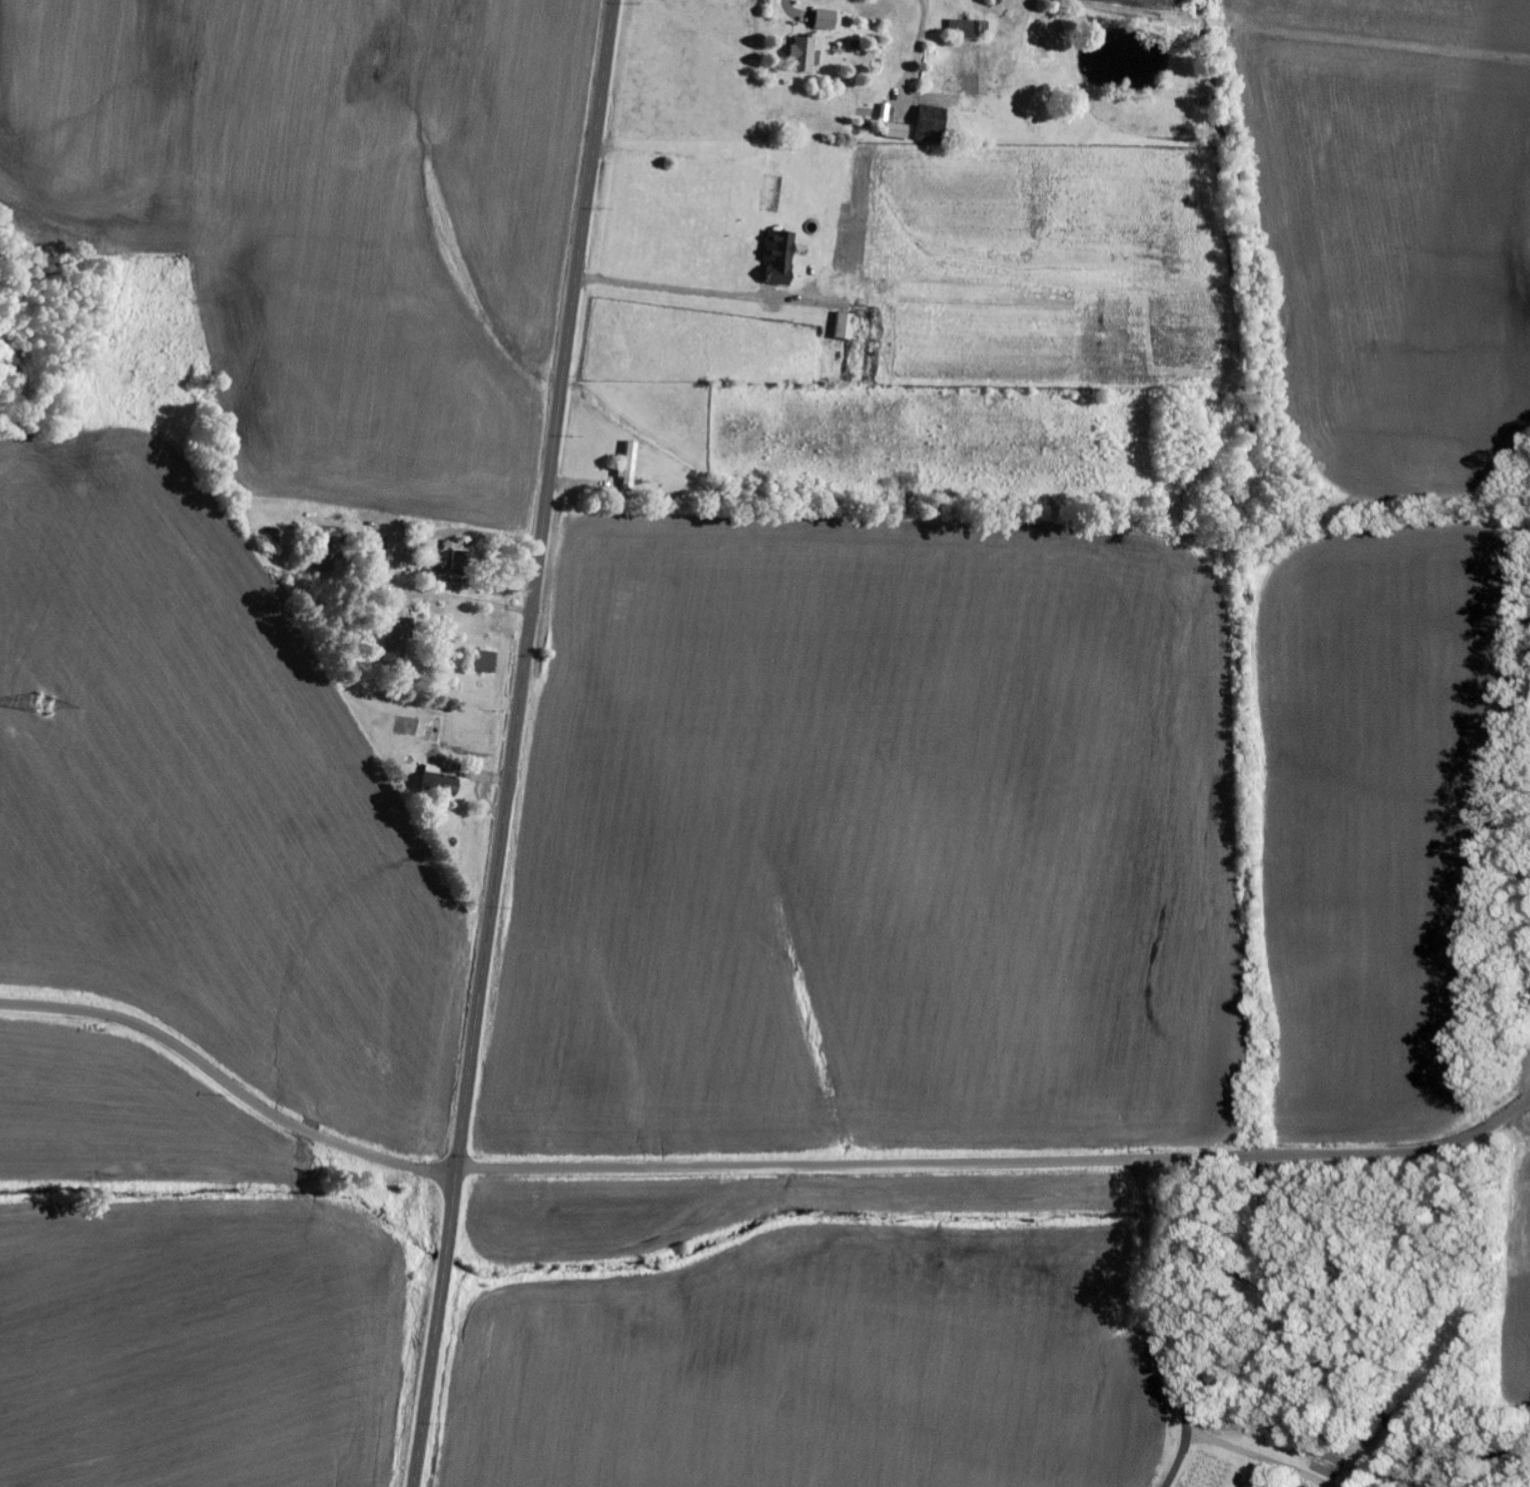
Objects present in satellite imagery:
road: (1121, 7)
building: (826, 20)
building: (962, 28)
building: (975, 75)
building: (932, 124)
building: (898, 131)
building: (782, 256)
building: (847, 327)
building: (631, 464)
building: (454, 568)
building: (396, 645)
power tower: (45, 702)
road: (516, 743)
building: (441, 784)
road: (229, 1080)
road: (1001, 1164)
road: (1162, 1327)
building: (1423, 1486)

